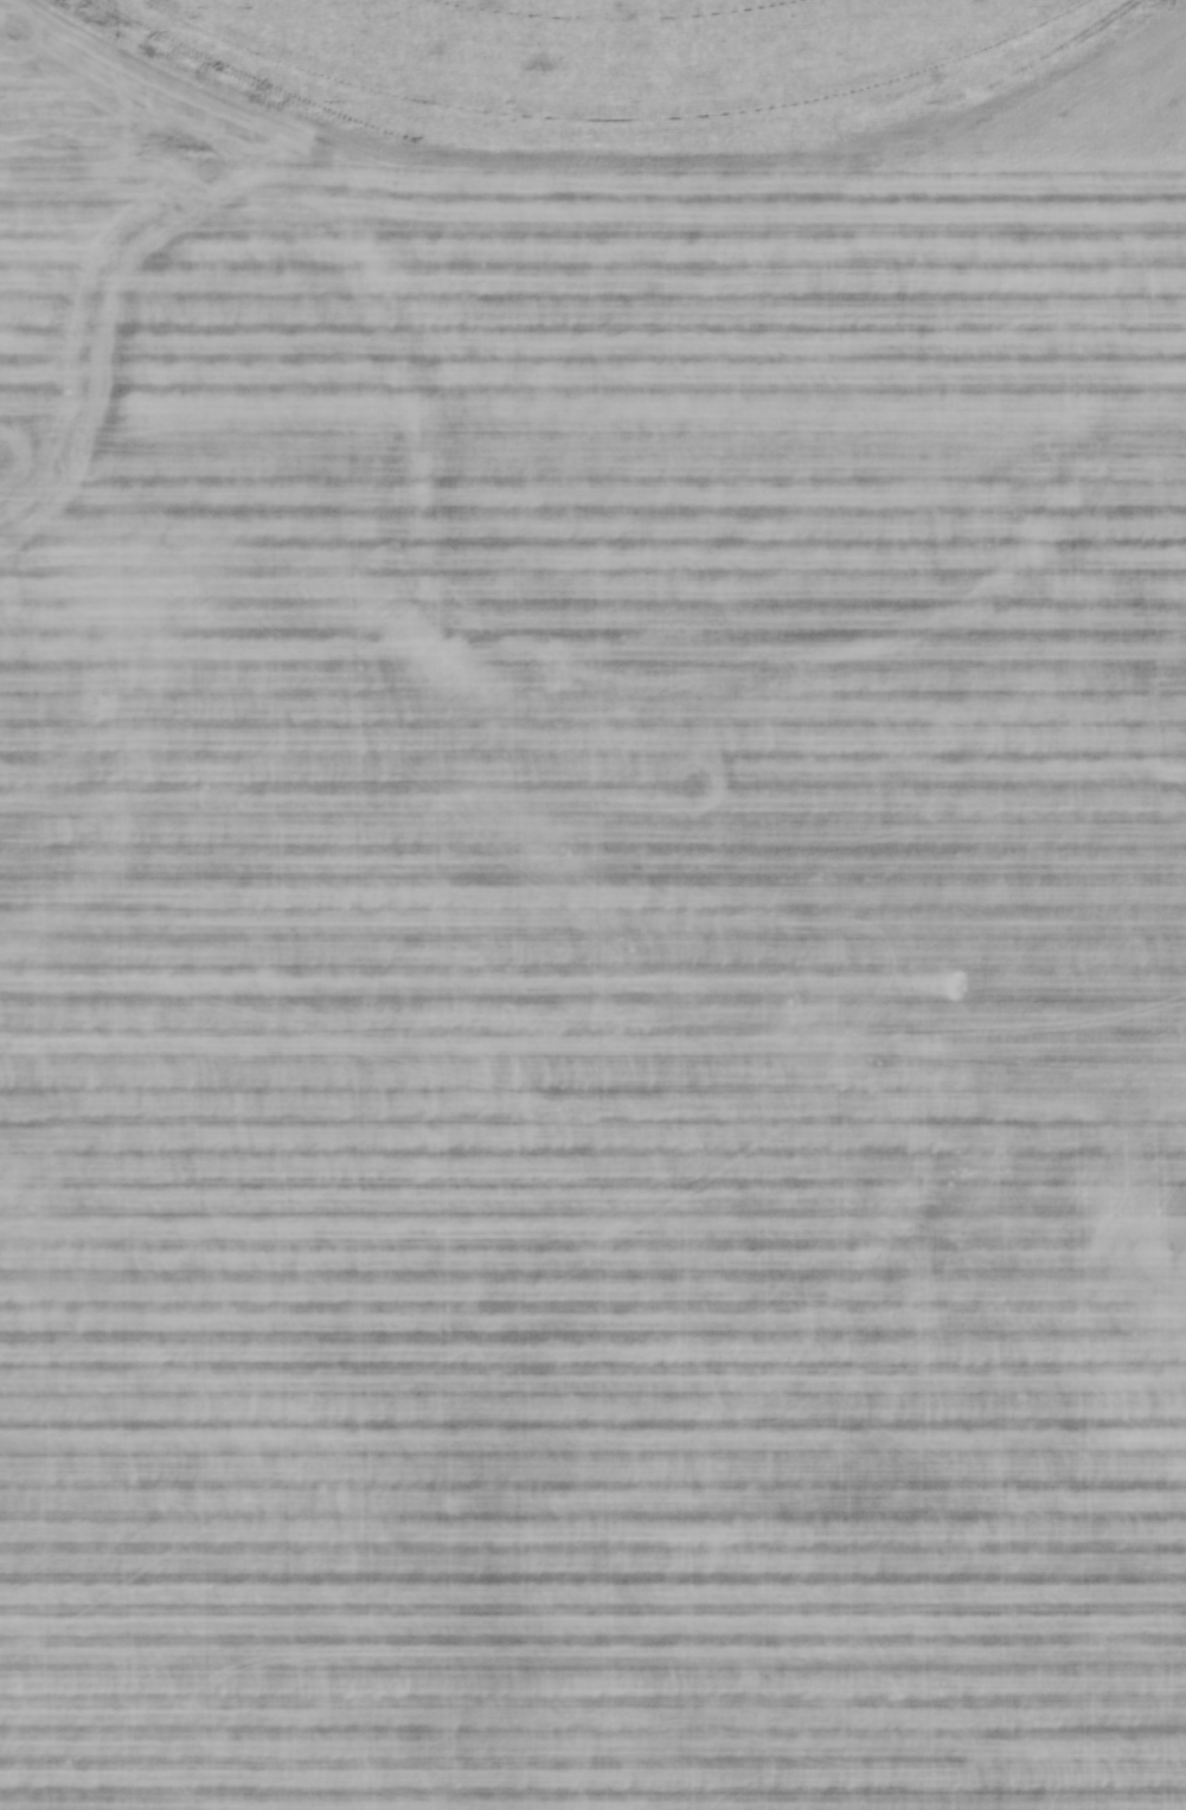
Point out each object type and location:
crop: (592, 905)

